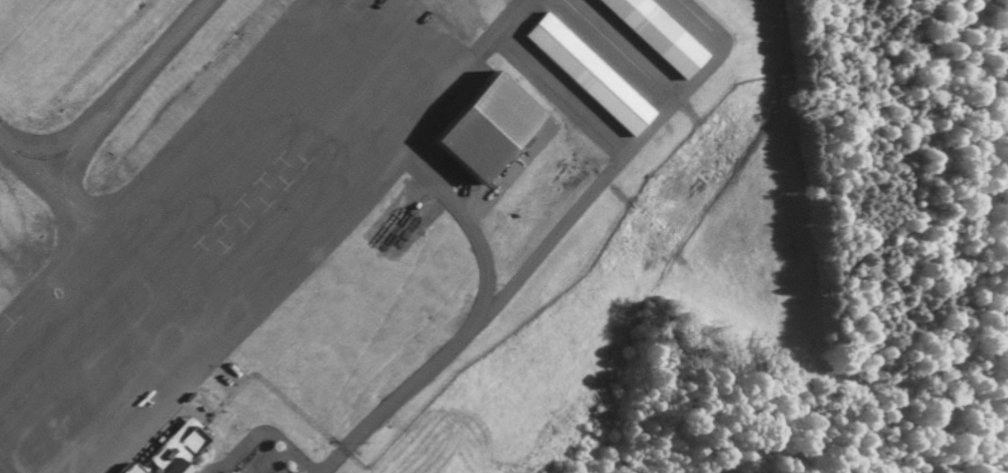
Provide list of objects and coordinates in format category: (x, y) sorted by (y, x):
building: (652, 34)
building: (583, 75)
airport taxiway: (115, 86)
building: (475, 128)
airport taxiway: (42, 180)
airport: (312, 205)
airport apron: (219, 225)
road: (262, 435)
building: (171, 451)

